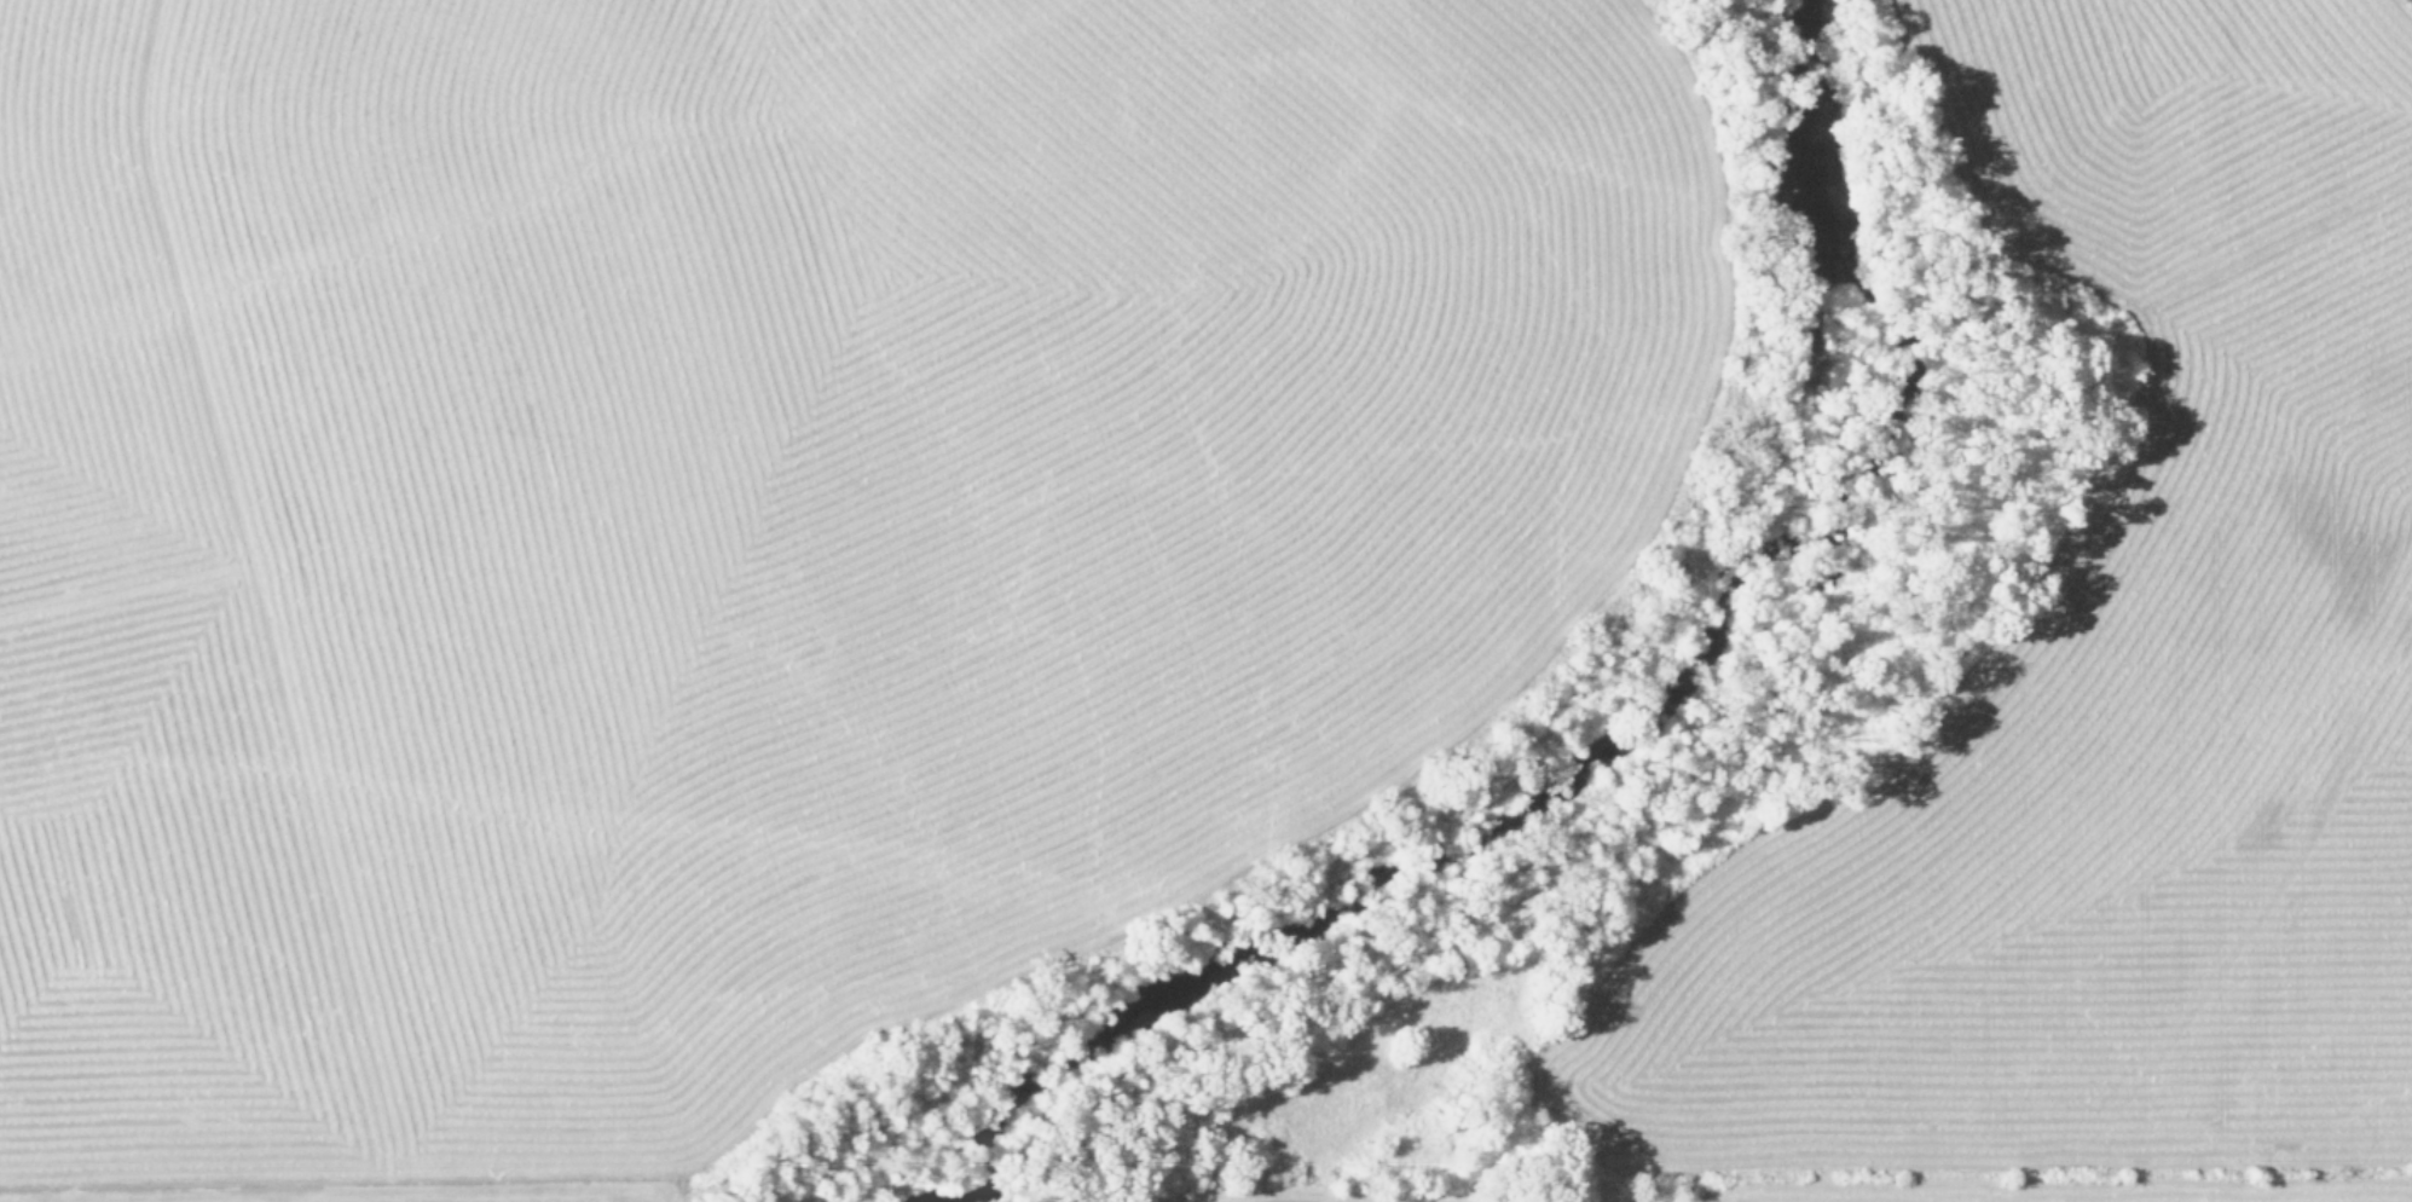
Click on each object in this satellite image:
crop: (2044, 729)

